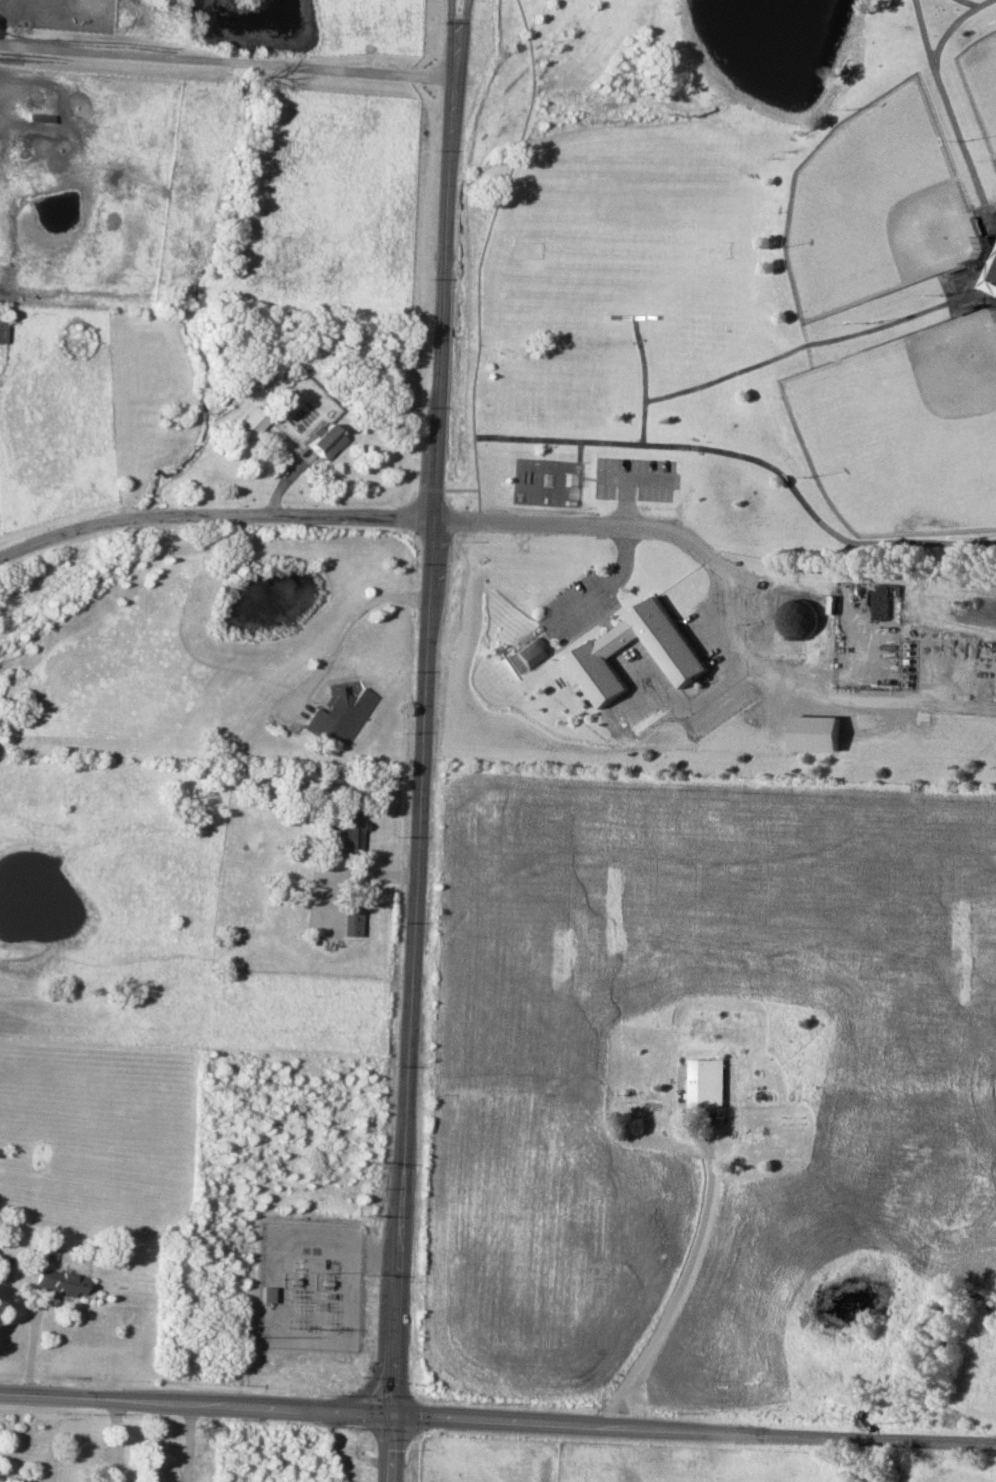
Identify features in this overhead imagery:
road: (453, 25)
road: (465, 25)
road: (228, 61)
park: (983, 80)
park: (884, 207)
road: (485, 241)
park: (630, 242)
road: (833, 340)
road: (645, 380)
park: (733, 401)
building: (251, 422)
park: (909, 430)
building: (323, 440)
road: (750, 459)
road: (212, 518)
road: (675, 536)
road: (607, 585)
building: (797, 619)
road: (347, 624)
building: (604, 645)
building: (530, 653)
road: (863, 700)
building: (340, 716)
road: (421, 729)
building: (816, 733)
building: (347, 832)
road: (347, 875)
building: (350, 921)
building: (708, 1082)
road: (677, 1280)
building: (59, 1281)
building: (264, 1294)
road: (32, 1347)
road: (301, 1406)
traffic signals: (392, 1410)
road: (799, 1427)
road: (390, 1446)

